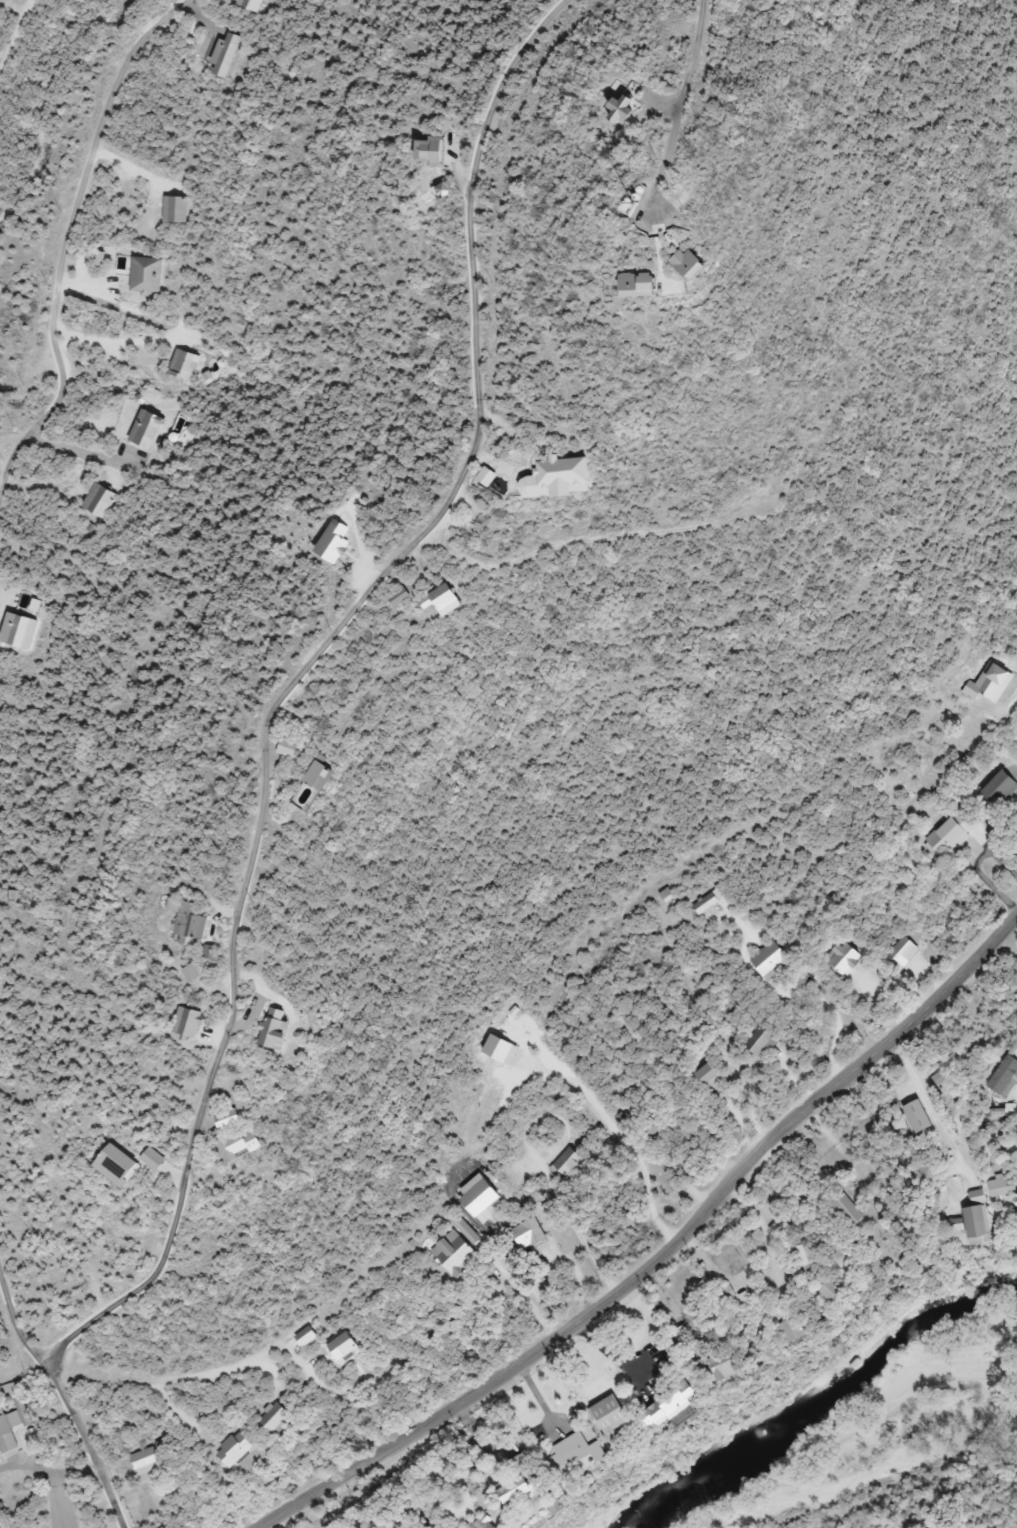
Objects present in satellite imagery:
building: (226, 56)
road: (683, 109)
building: (626, 110)
building: (431, 151)
building: (444, 190)
building: (175, 210)
road: (67, 236)
building: (700, 265)
building: (148, 276)
building: (647, 286)
building: (185, 365)
building: (147, 429)
building: (490, 477)
building: (565, 478)
building: (99, 500)
building: (402, 597)
building: (447, 599)
road: (296, 679)
building: (292, 749)
building: (324, 775)
building: (1002, 791)
building: (952, 834)
building: (708, 904)
building: (190, 921)
building: (905, 952)
building: (846, 957)
building: (773, 960)
building: (195, 972)
building: (190, 1023)
building: (279, 1029)
building: (762, 1041)
building: (712, 1075)
building: (1005, 1077)
building: (922, 1116)
building: (245, 1145)
building: (155, 1160)
building: (569, 1165)
building: (121, 1166)
building: (848, 1213)
building: (982, 1218)
building: (531, 1233)
building: (457, 1254)
road: (665, 1257)
building: (840, 1291)
building: (805, 1329)
building: (308, 1336)
building: (346, 1345)
building: (739, 1364)
road: (65, 1401)
building: (688, 1403)
river: (828, 1405)
building: (619, 1414)
building: (279, 1418)
building: (15, 1430)
building: (237, 1449)
building: (587, 1452)
building: (148, 1461)
road: (49, 1472)
building: (523, 1491)
road: (61, 1501)
building: (501, 1525)

